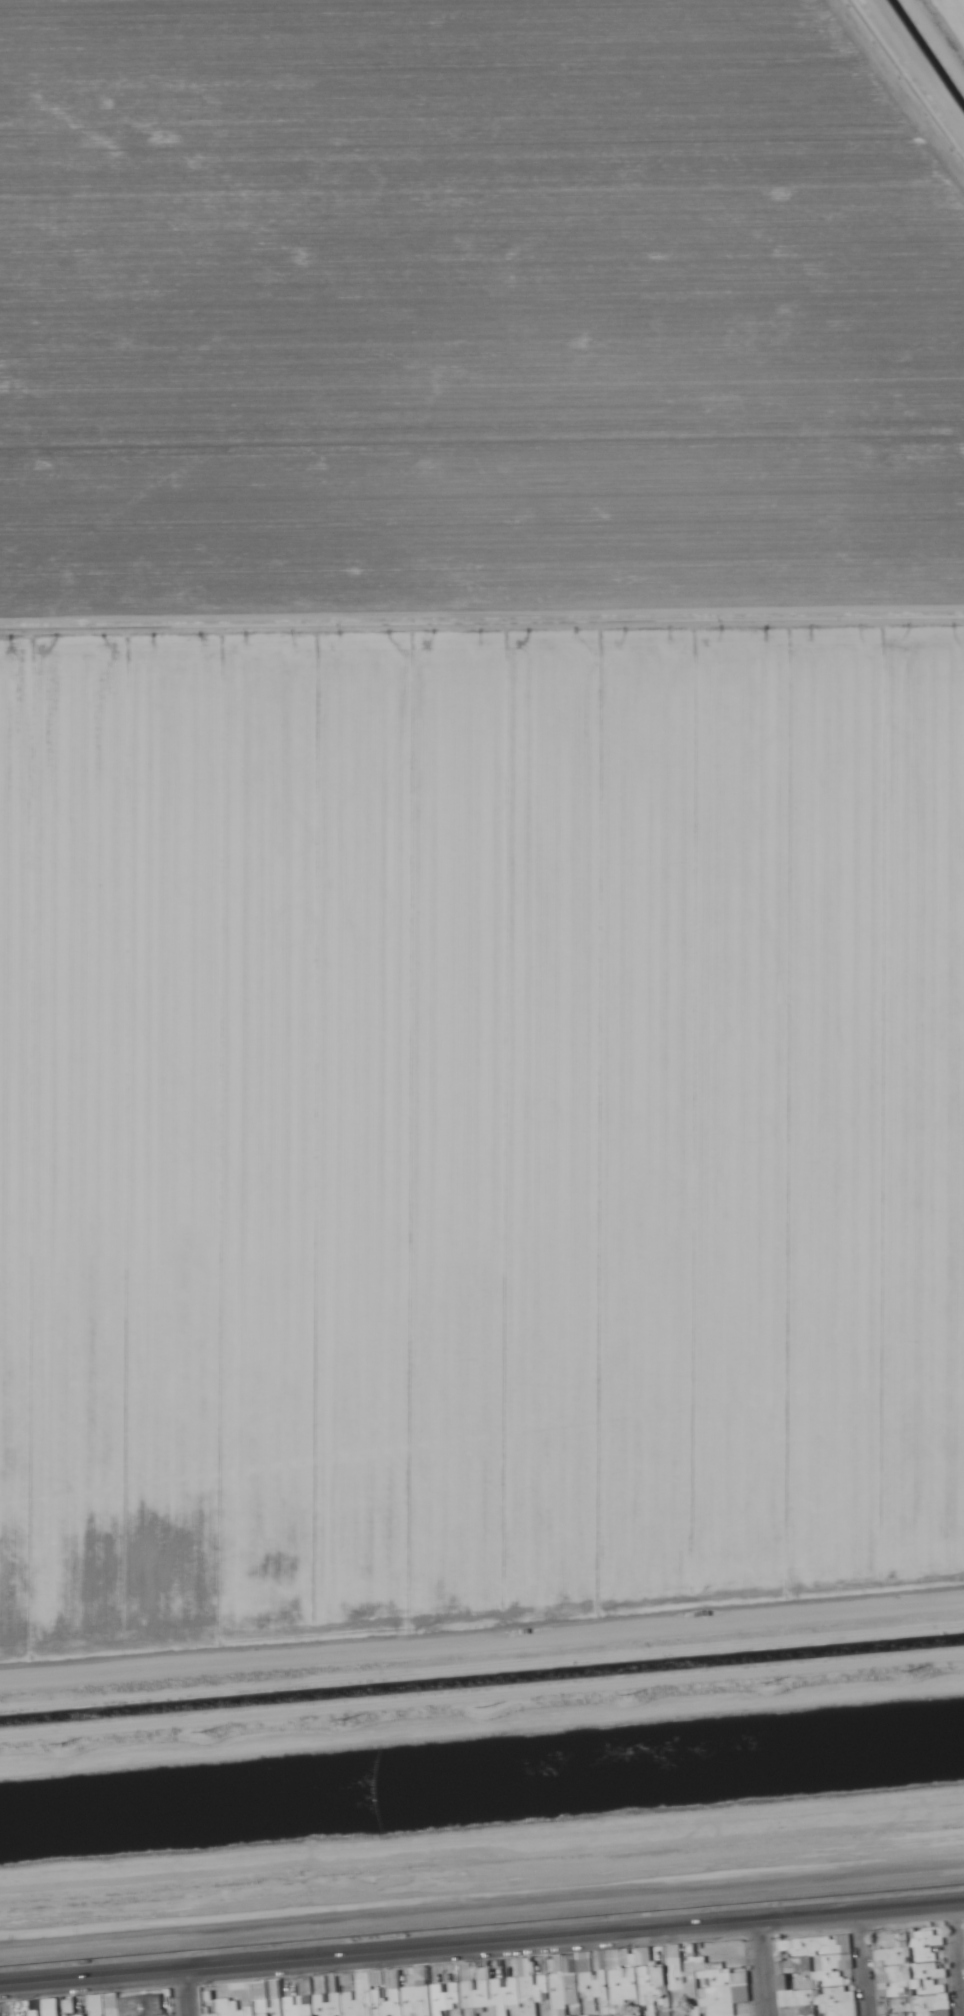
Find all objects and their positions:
road: (937, 40)
road: (481, 1658)
road: (482, 1944)
road: (958, 1960)
road: (866, 1964)
road: (761, 1968)
building: (594, 1978)
road: (186, 1992)
building: (228, 2007)

